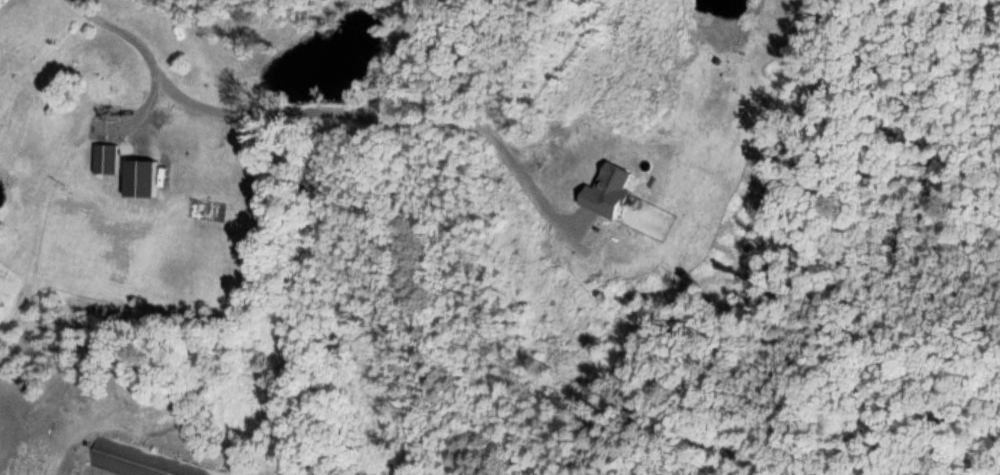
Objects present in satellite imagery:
road: (140, 47)
building: (107, 83)
building: (106, 159)
building: (142, 179)
building: (146, 462)

